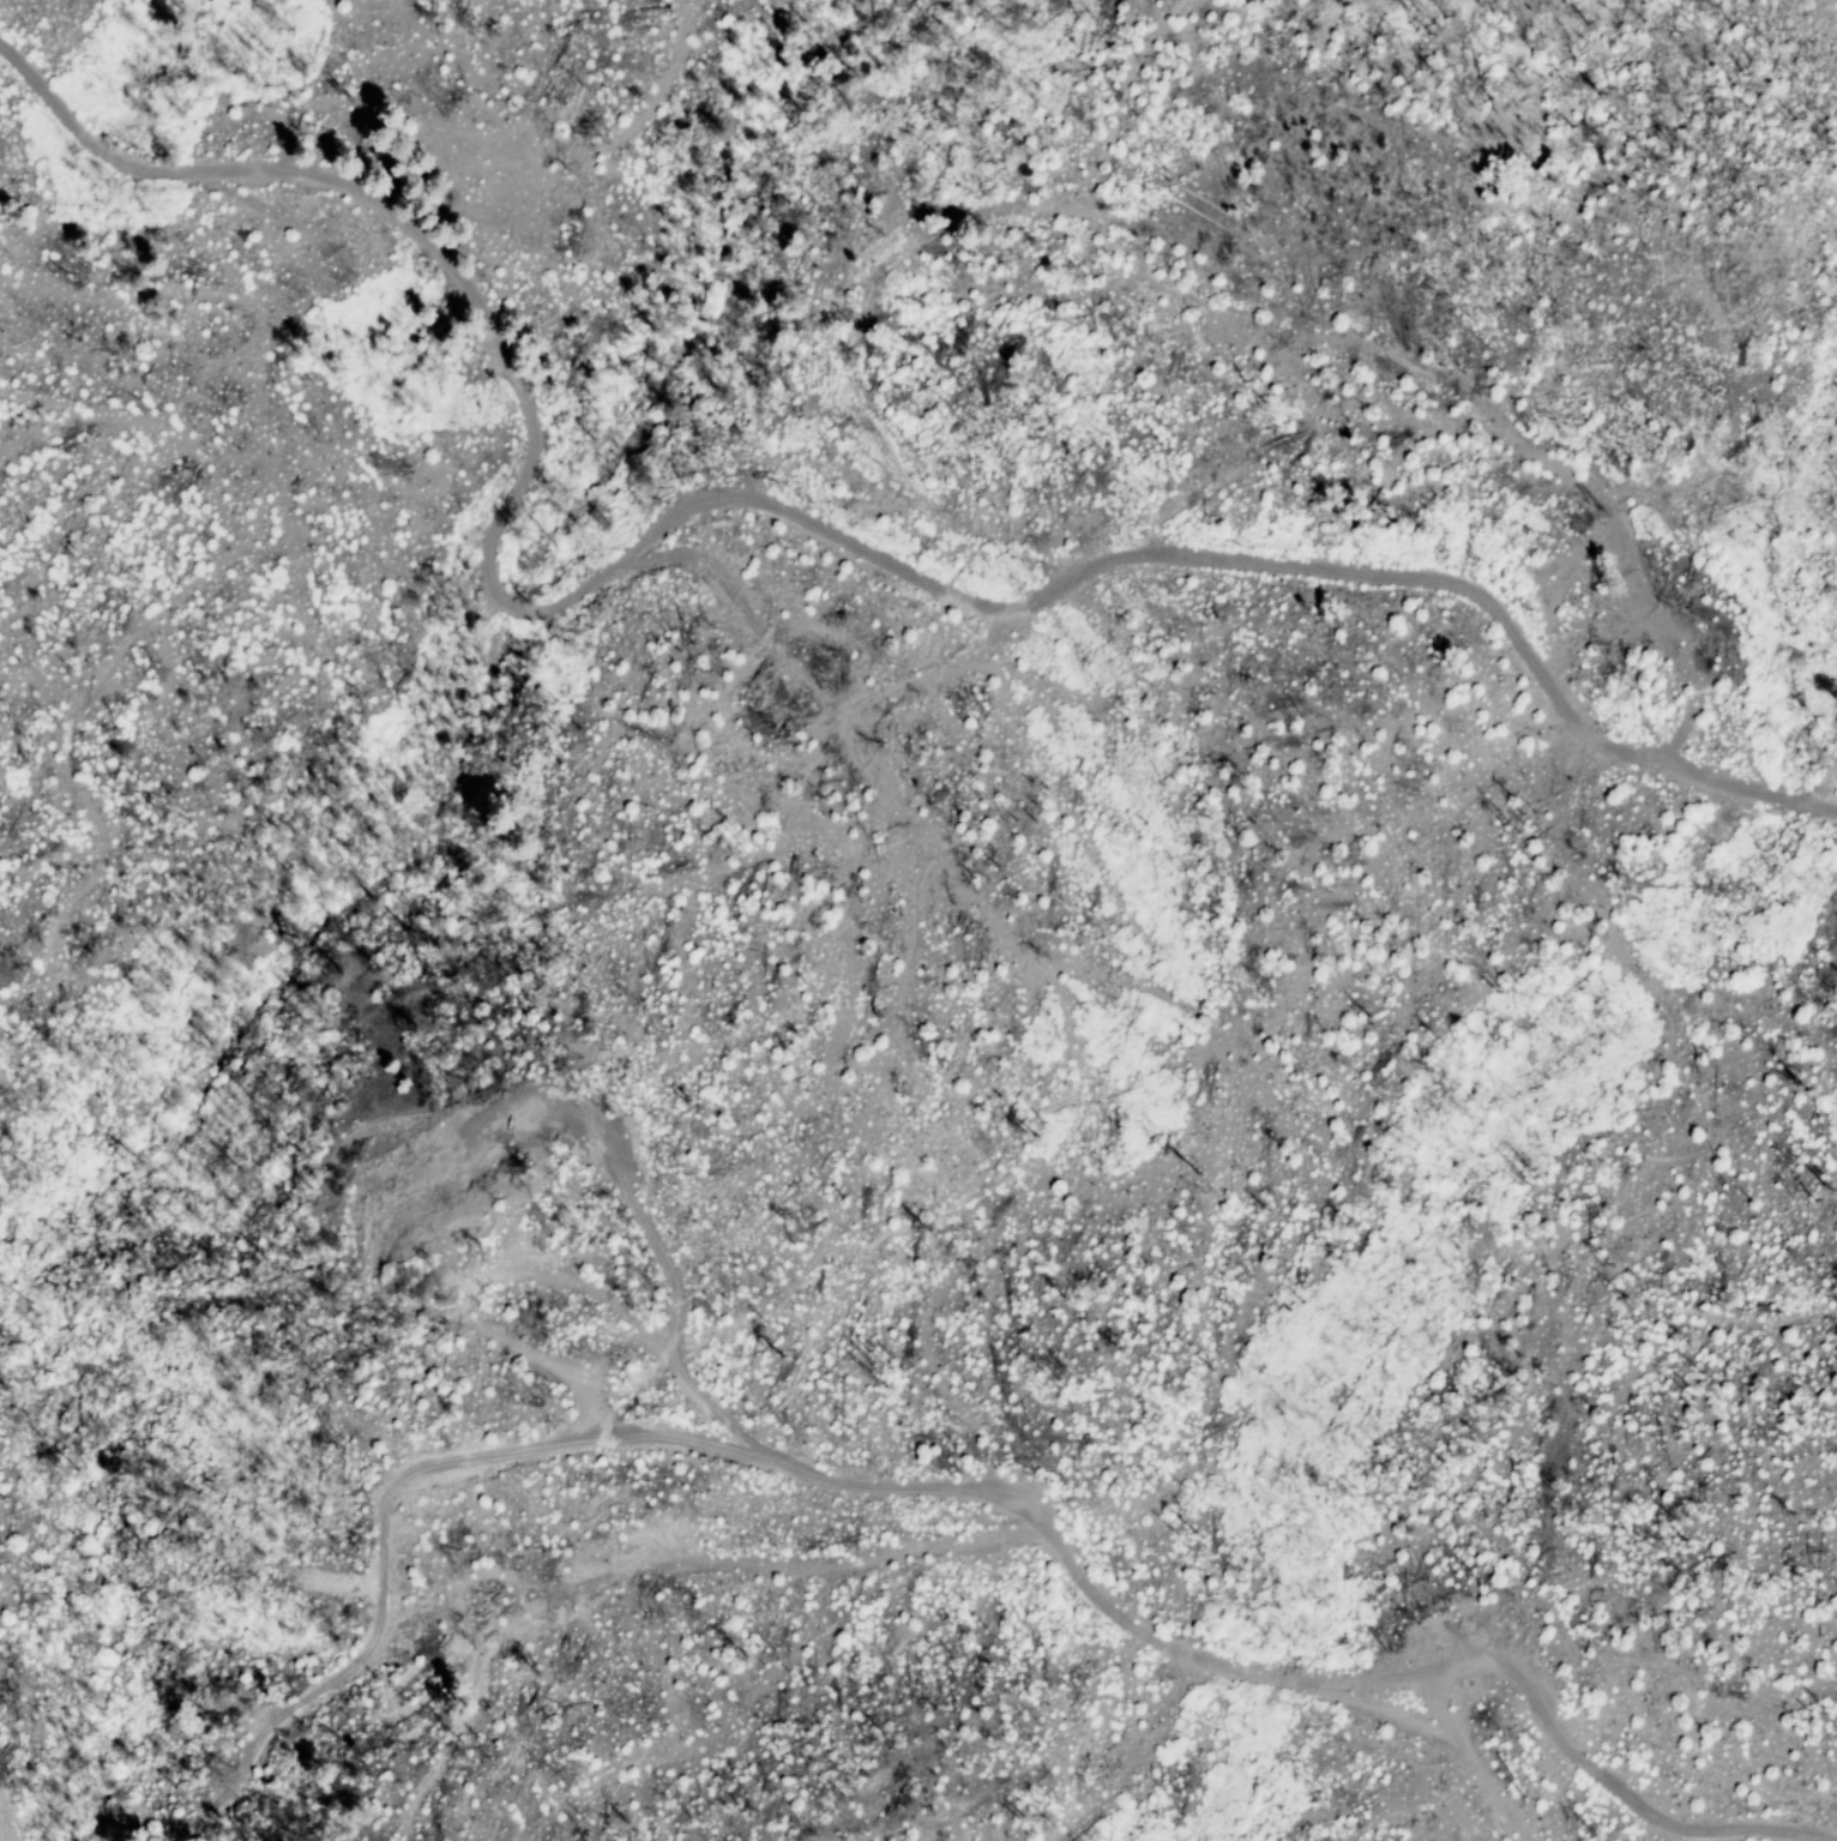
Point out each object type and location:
road: (771, 553)
road: (1234, 989)
road: (947, 1498)
road: (1476, 1758)
road: (1, 1836)

